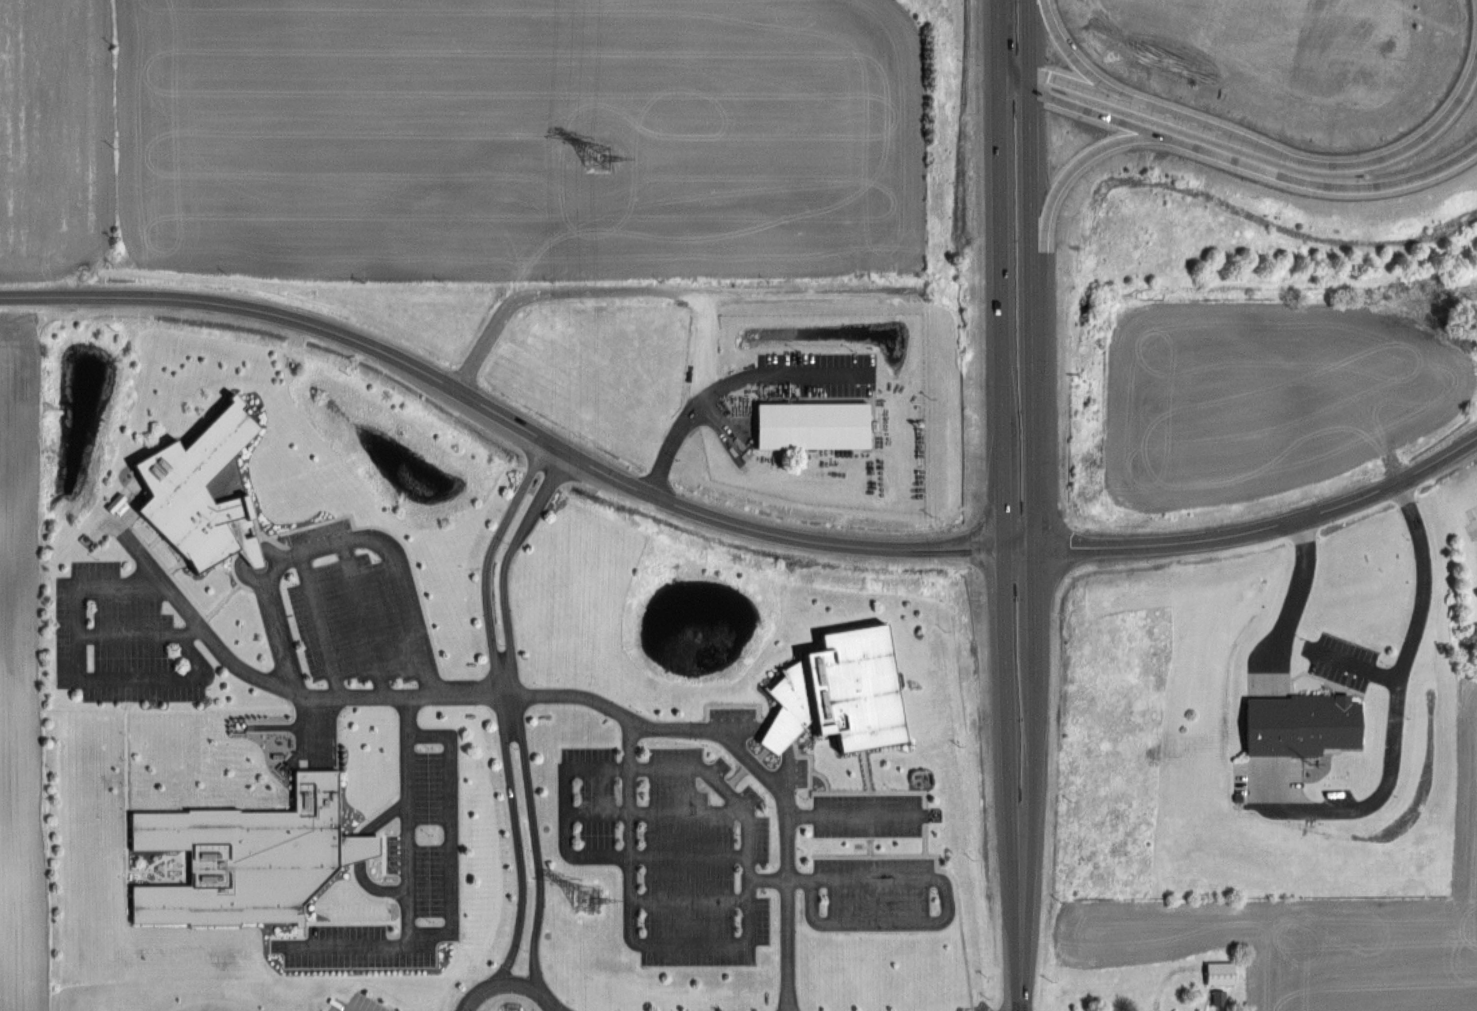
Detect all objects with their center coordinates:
road: (999, 35)
road: (1029, 45)
road: (1070, 83)
road: (1256, 146)
power tower: (598, 157)
road: (1235, 160)
road: (1068, 173)
road: (661, 292)
road: (711, 341)
road: (727, 381)
building: (812, 424)
road: (1003, 482)
building: (201, 490)
road: (1034, 492)
road: (726, 520)
road: (1476, 523)
road: (337, 538)
road: (250, 552)
road: (267, 552)
road: (241, 576)
road: (1287, 596)
road: (1419, 616)
road: (359, 617)
road: (317, 624)
road: (78, 677)
building: (837, 693)
road: (531, 696)
road: (499, 706)
road: (517, 715)
building: (1300, 724)
road: (618, 767)
road: (851, 813)
road: (381, 817)
road: (357, 848)
building: (247, 857)
road: (373, 887)
power tower: (588, 898)
road: (940, 910)
road: (448, 920)
road: (628, 938)
road: (346, 946)
road: (1022, 952)
building: (1219, 972)
road: (508, 976)
building: (1218, 997)
road: (557, 1006)

